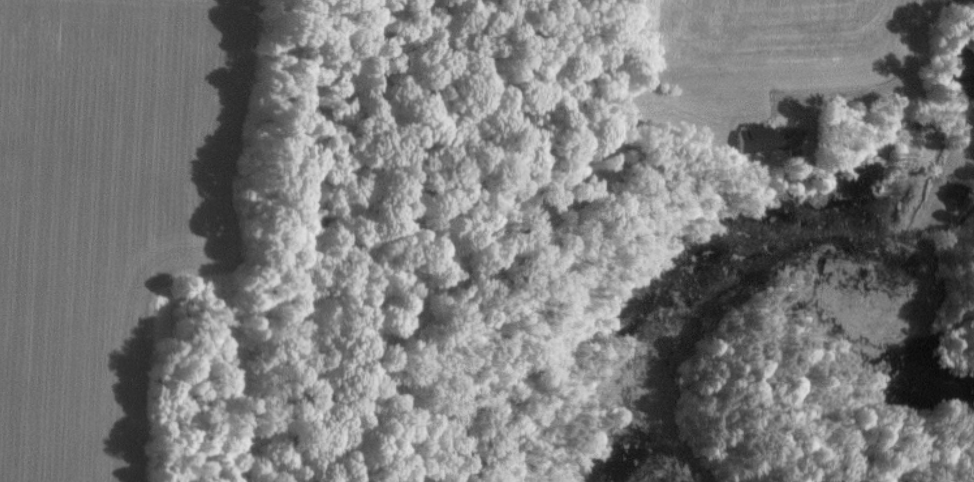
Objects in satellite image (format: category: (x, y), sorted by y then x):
road: (915, 60)
road: (843, 94)
building: (772, 134)
building: (954, 191)

